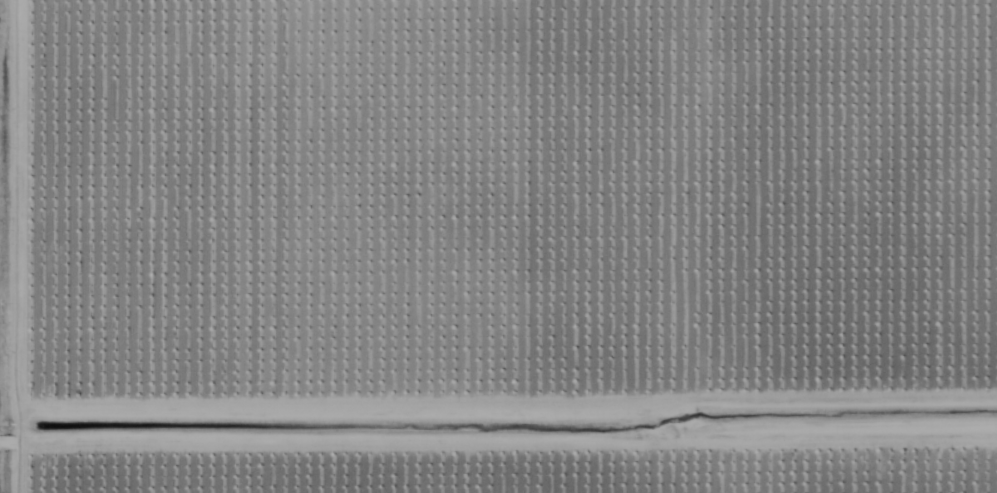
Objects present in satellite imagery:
crop: (514, 246)
road: (31, 248)
road: (525, 345)

